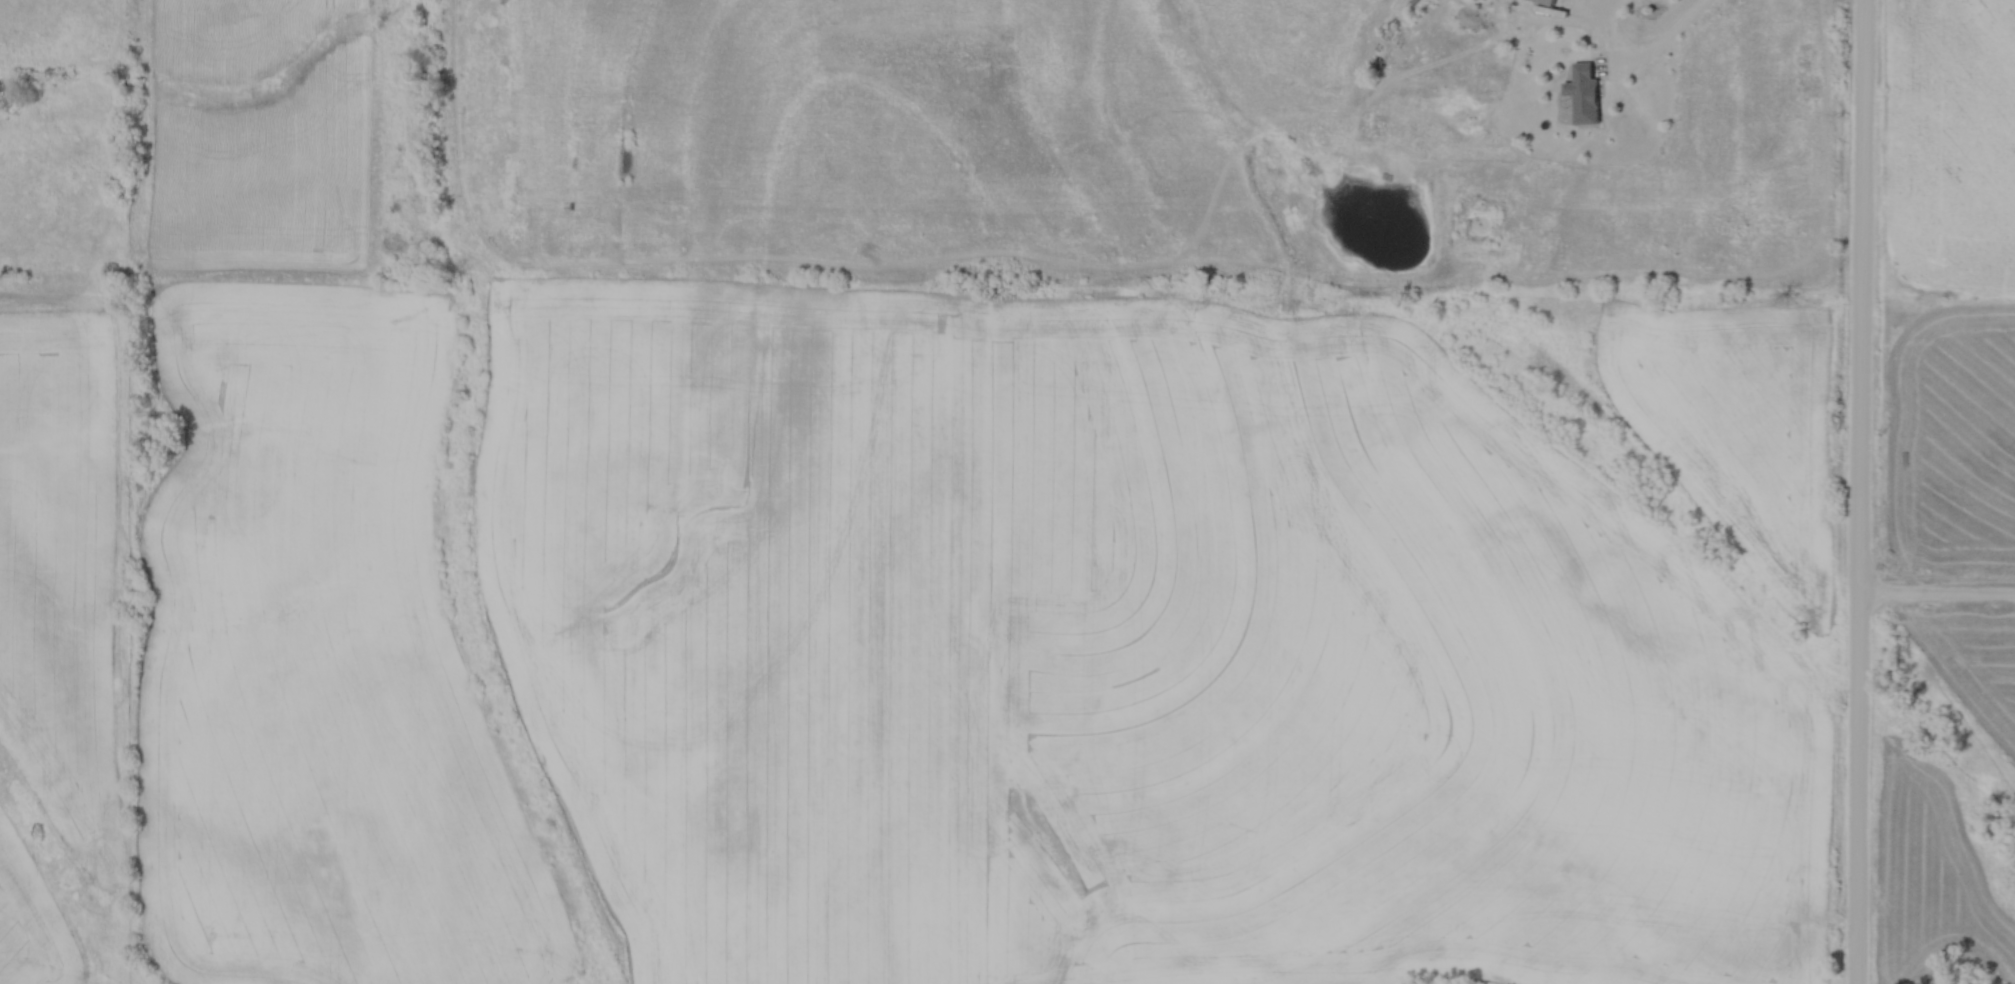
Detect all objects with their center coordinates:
building: (1551, 2)
road: (1646, 50)
building: (1590, 92)
road: (1862, 144)
road: (1937, 592)
road: (1860, 636)

